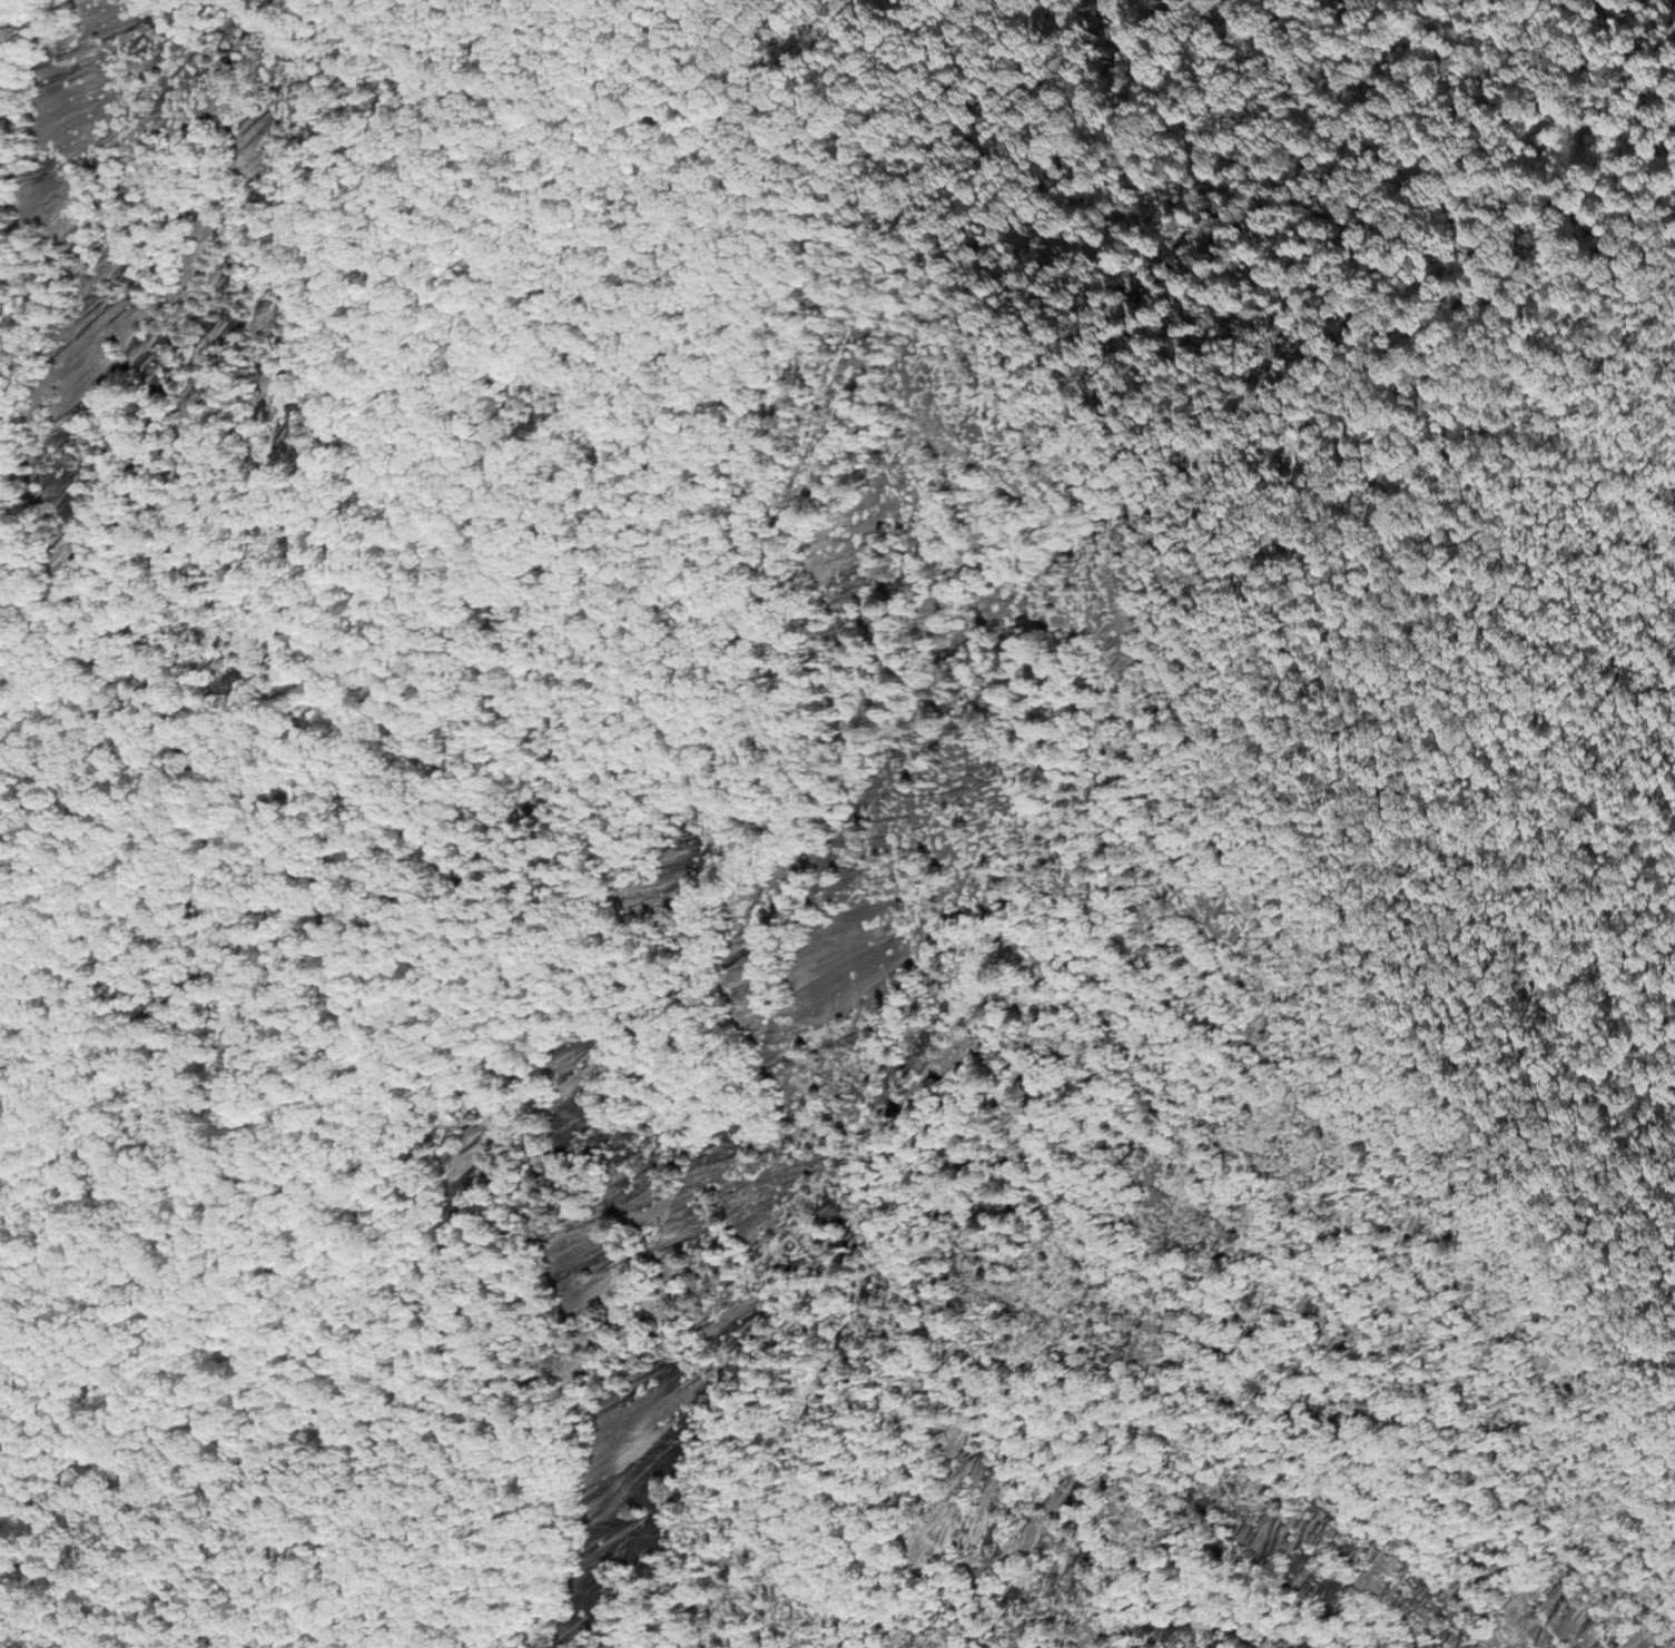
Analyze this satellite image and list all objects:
road: (1633, 45)
road: (1072, 75)
road: (1364, 985)

